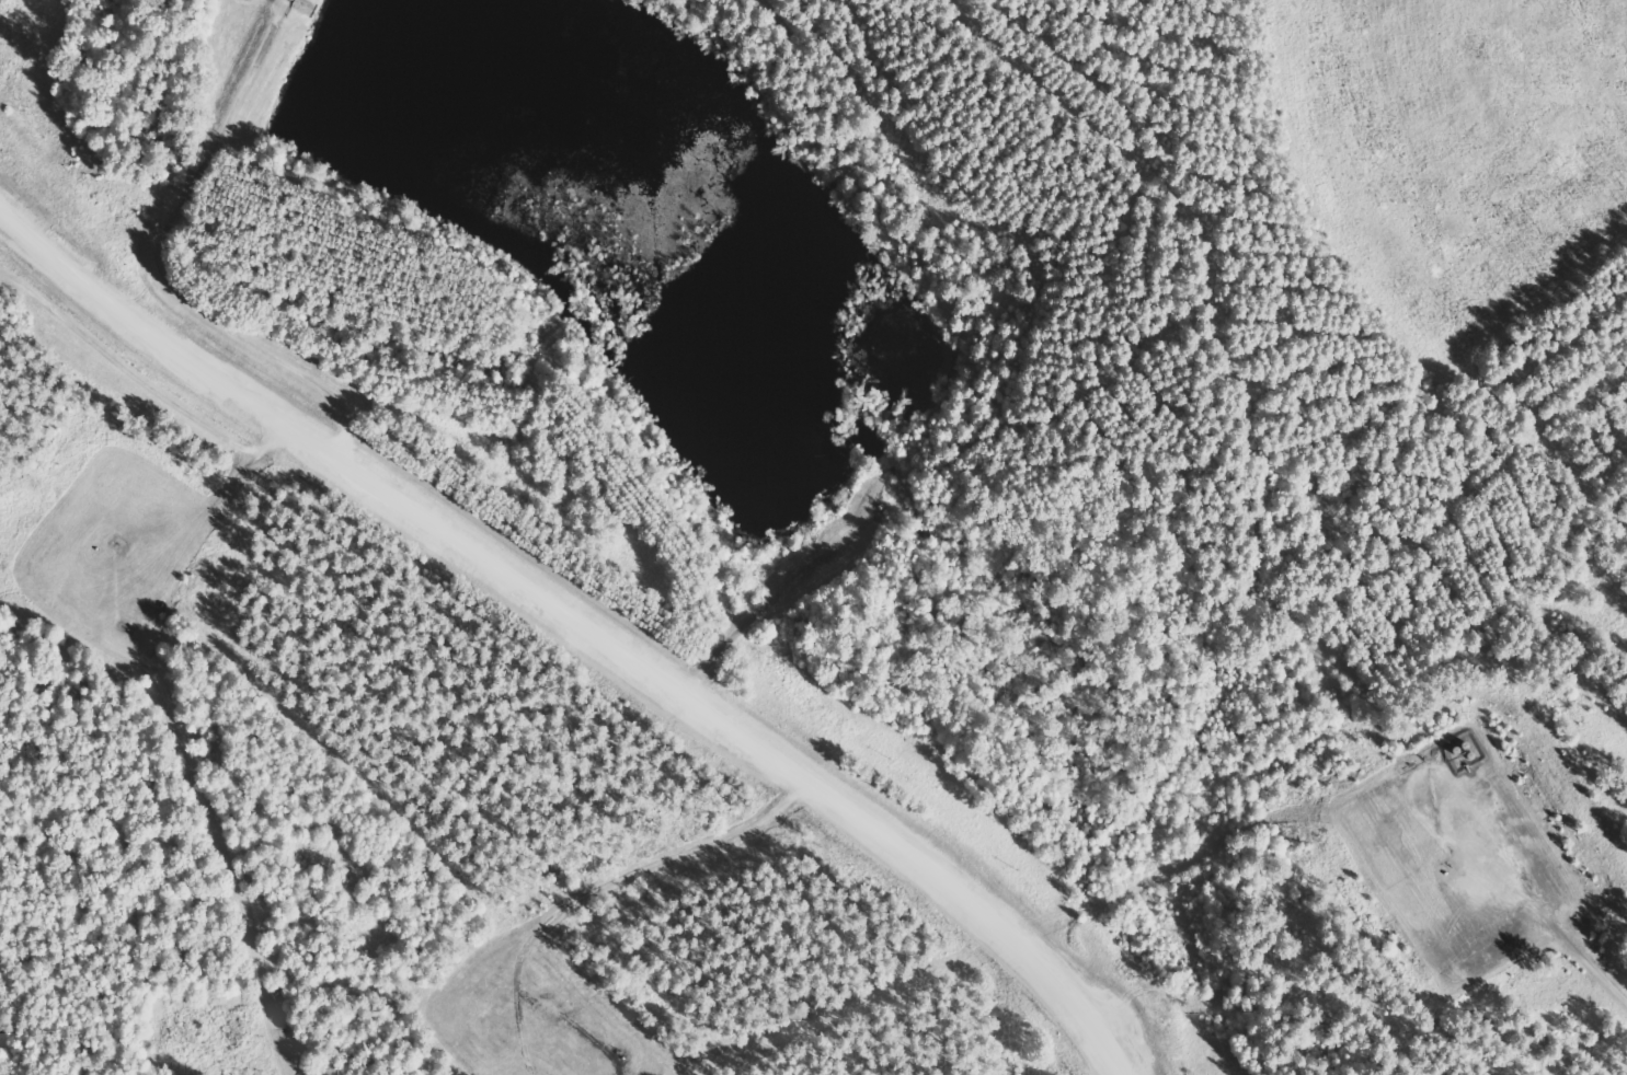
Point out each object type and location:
road: (576, 624)

